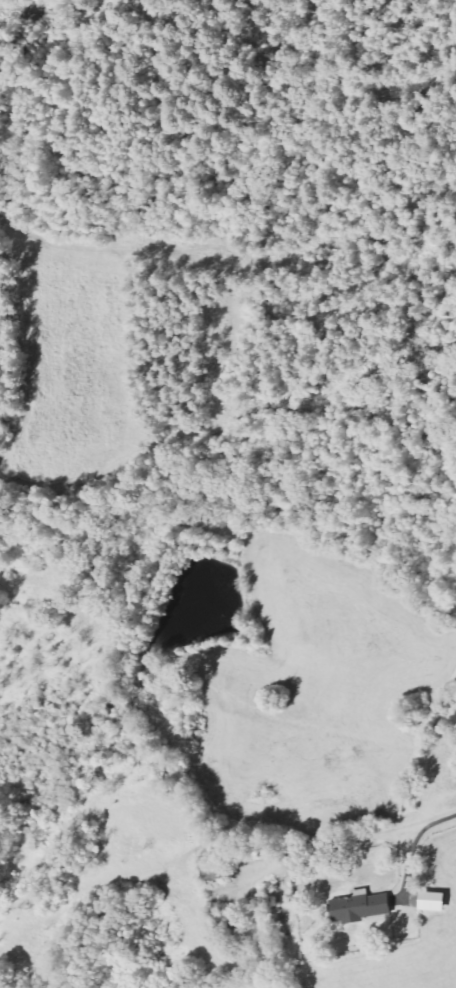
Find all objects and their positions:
road: (414, 850)
building: (220, 871)
building: (364, 905)

